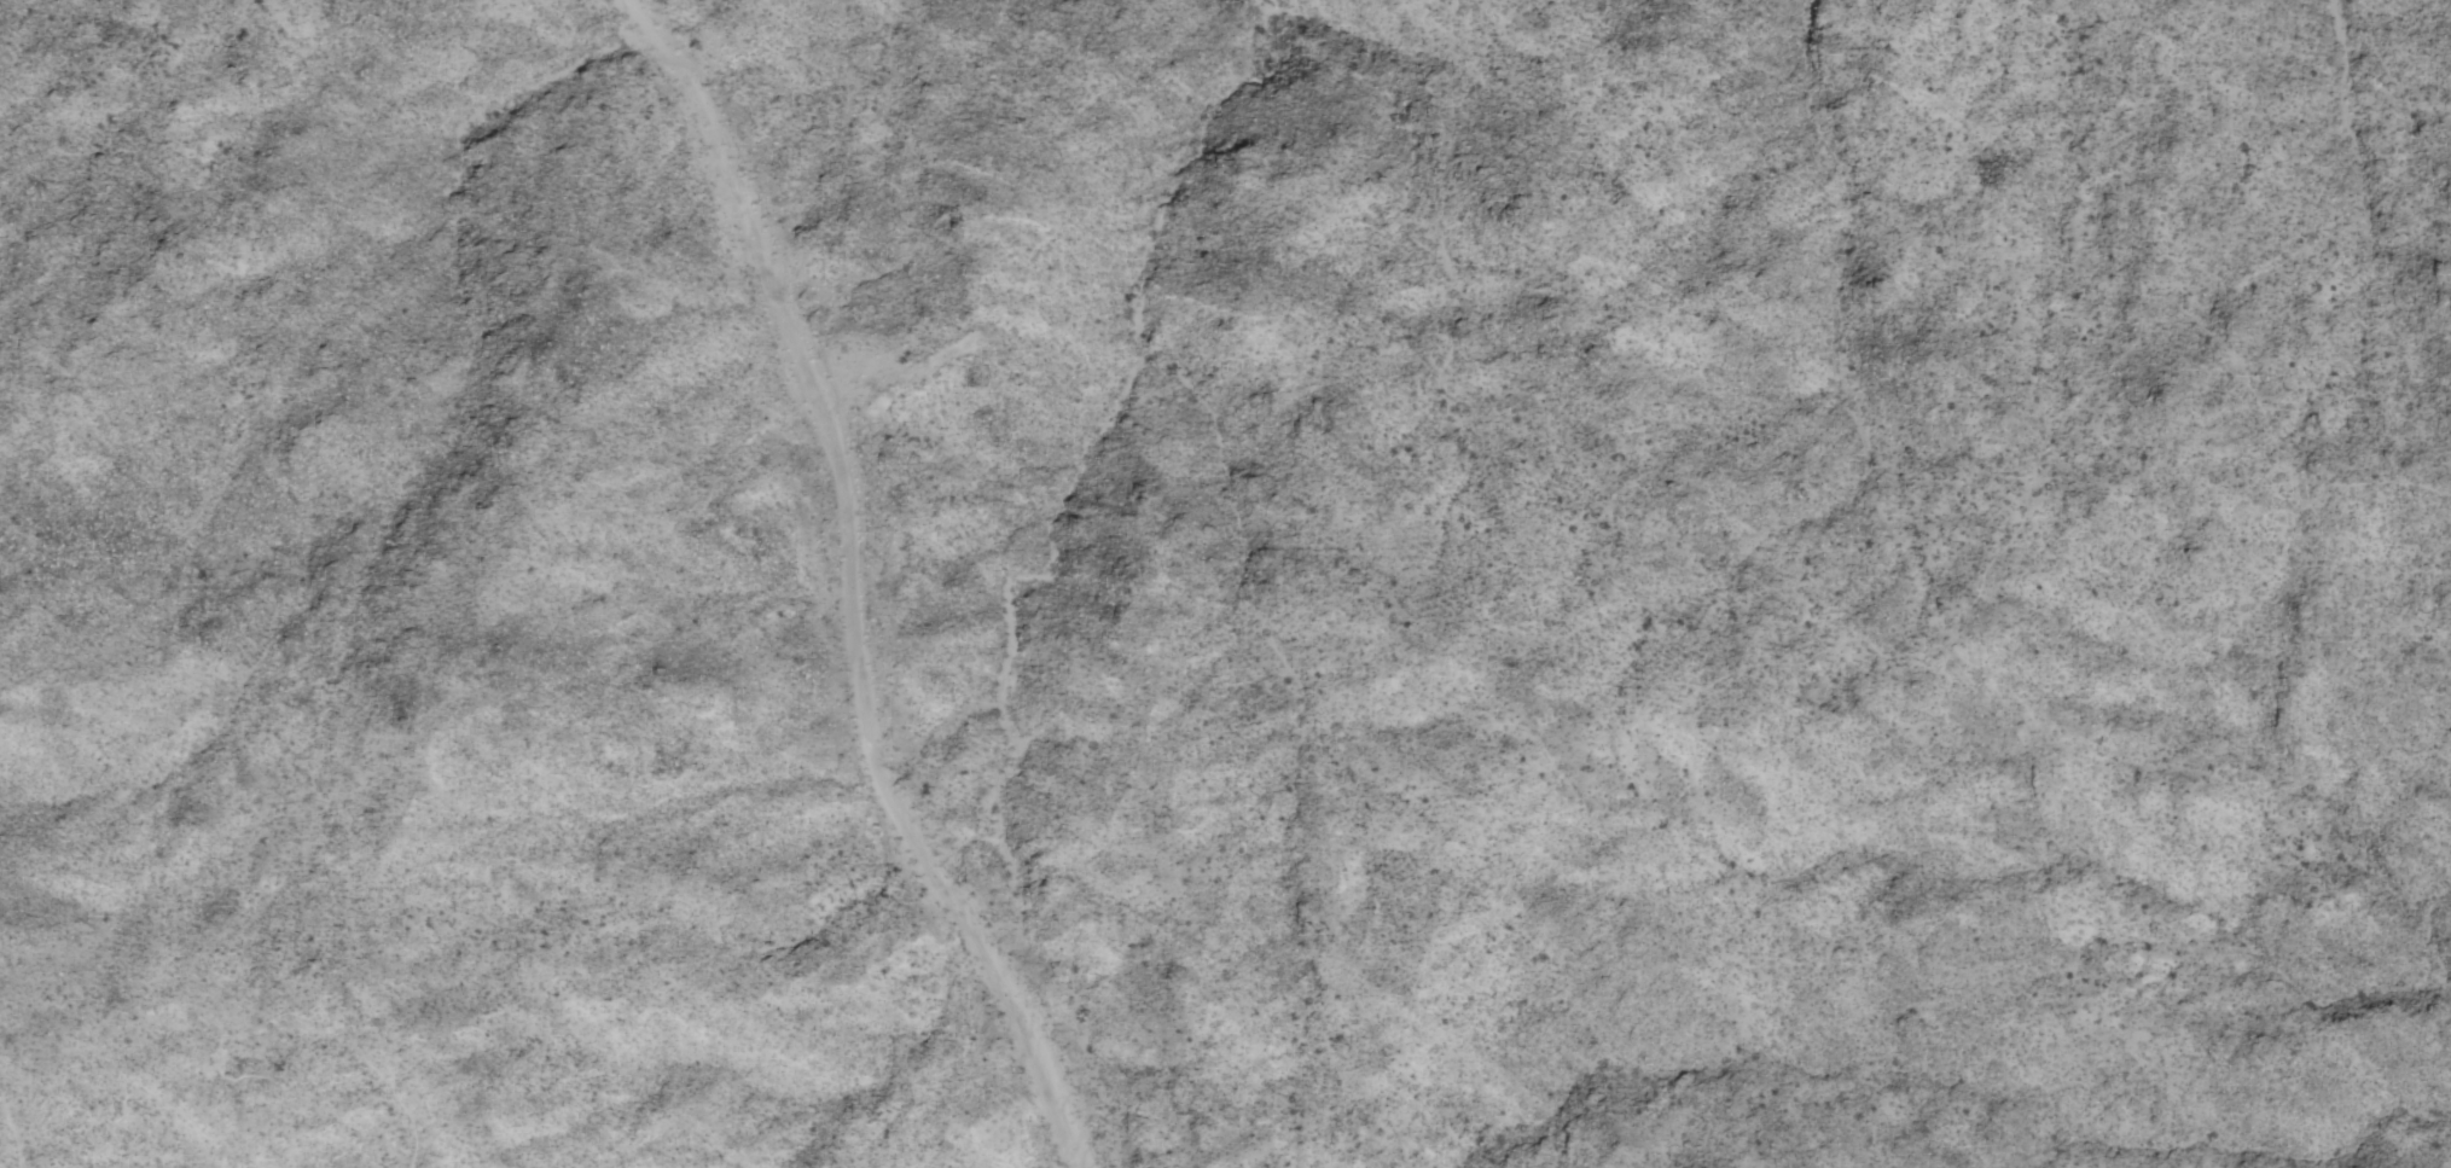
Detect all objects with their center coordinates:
road: (849, 586)
road: (225, 1075)
road: (12, 1128)

